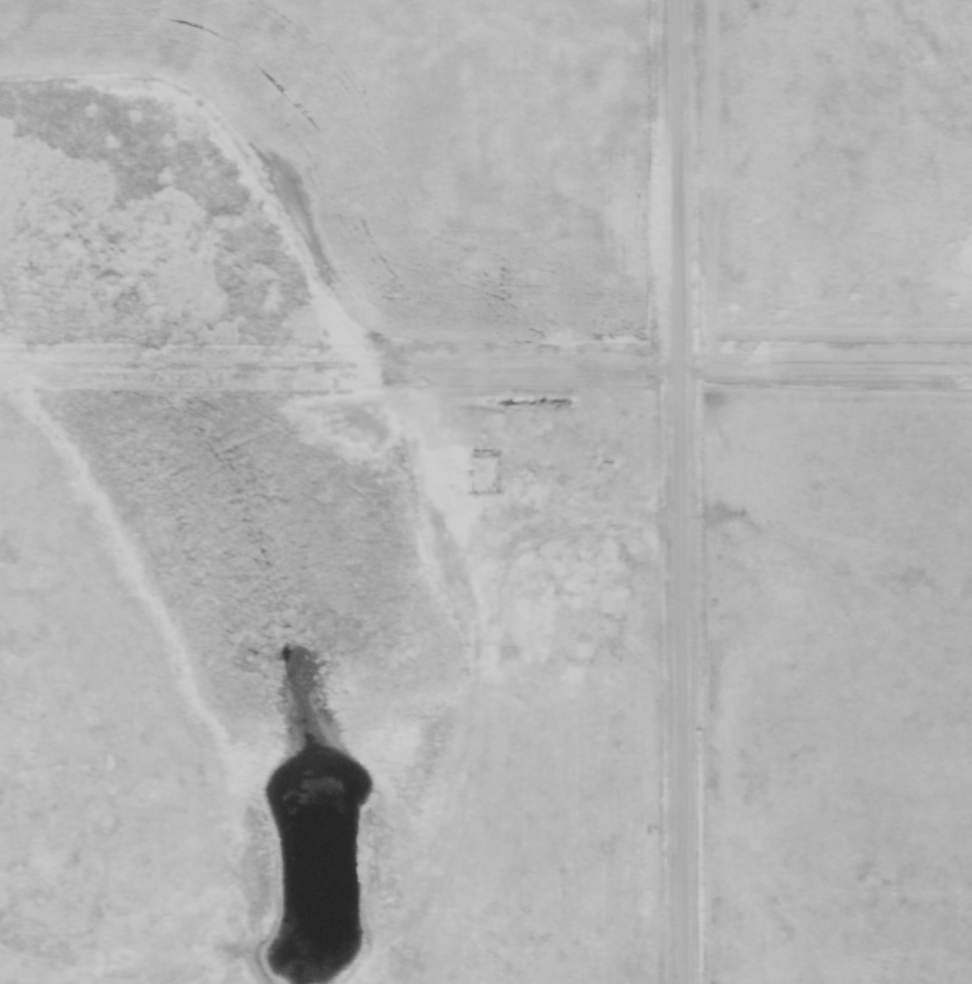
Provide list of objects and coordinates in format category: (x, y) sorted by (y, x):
road: (826, 368)
road: (681, 491)

